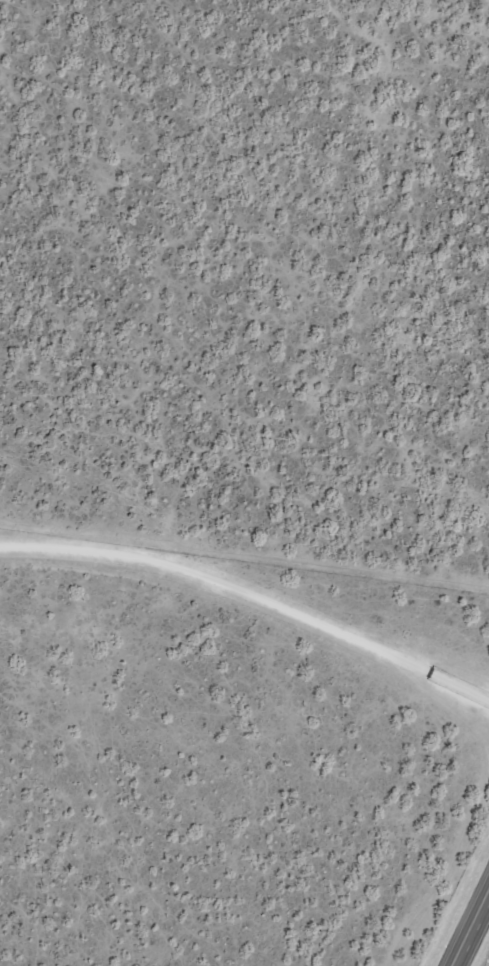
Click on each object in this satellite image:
road: (475, 939)

